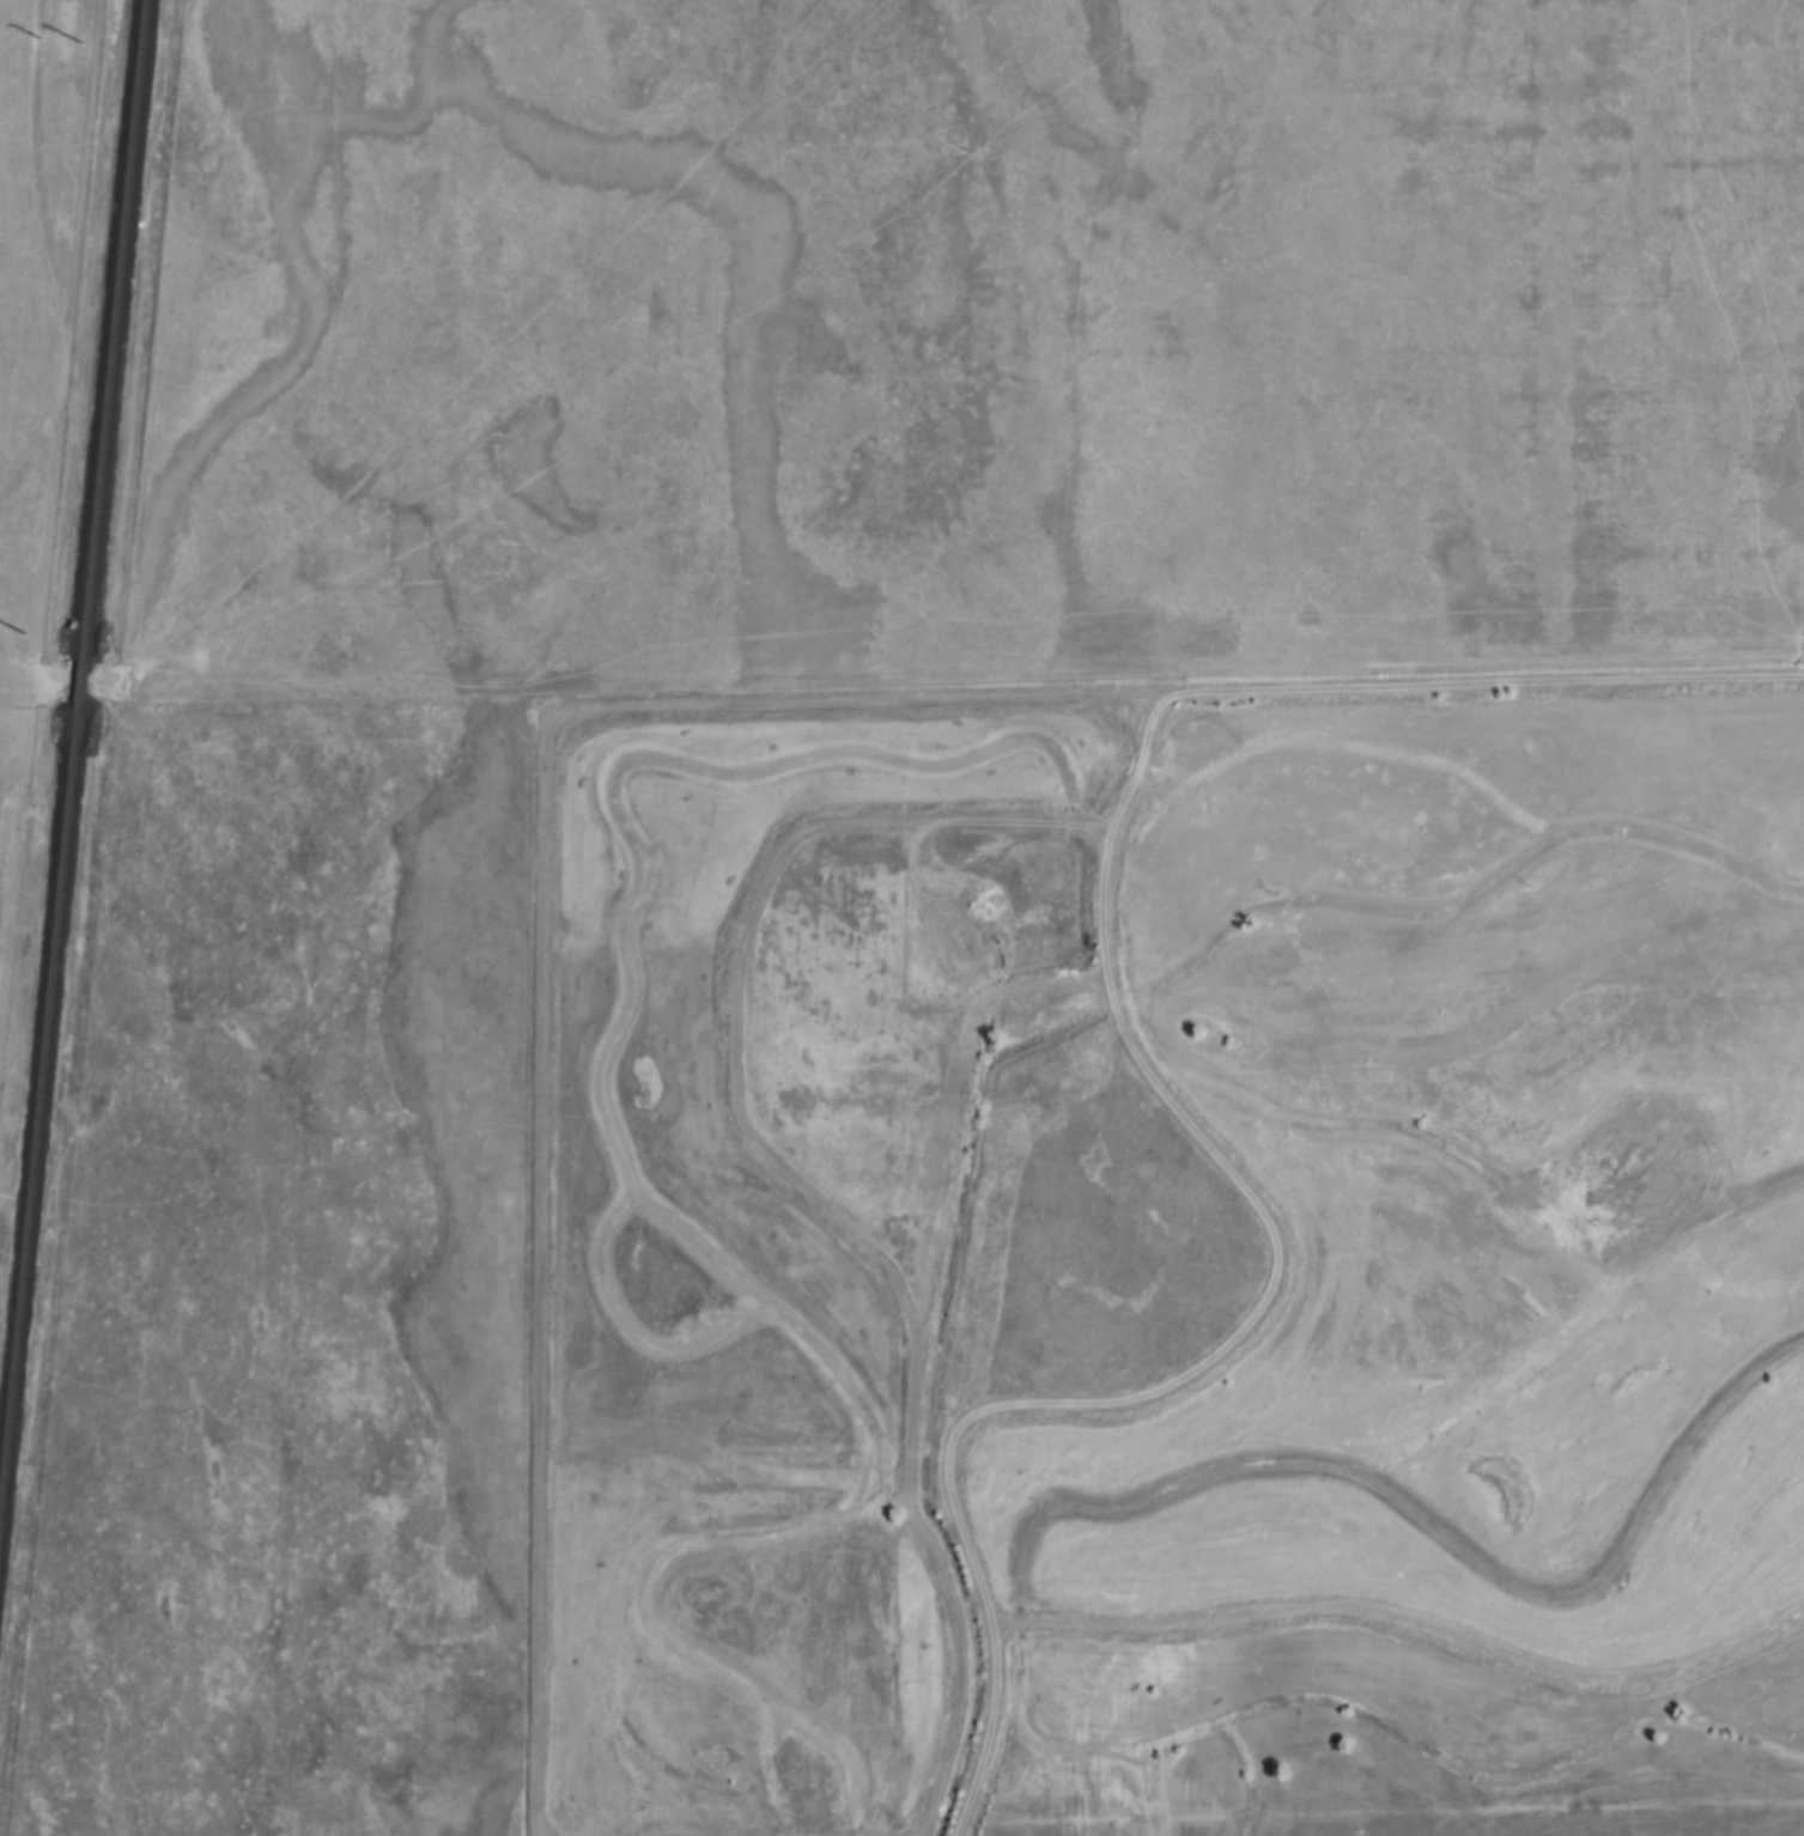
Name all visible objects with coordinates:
power tower: (37, 55)
railway: (119, 330)
railway: (84, 687)
railway: (41, 1135)

